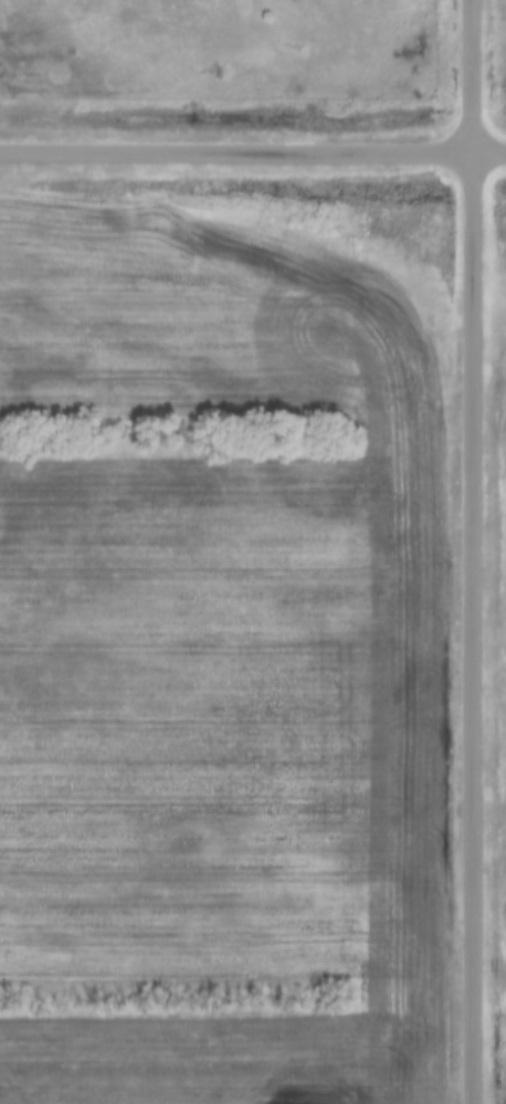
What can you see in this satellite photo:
road: (253, 149)
road: (472, 551)

